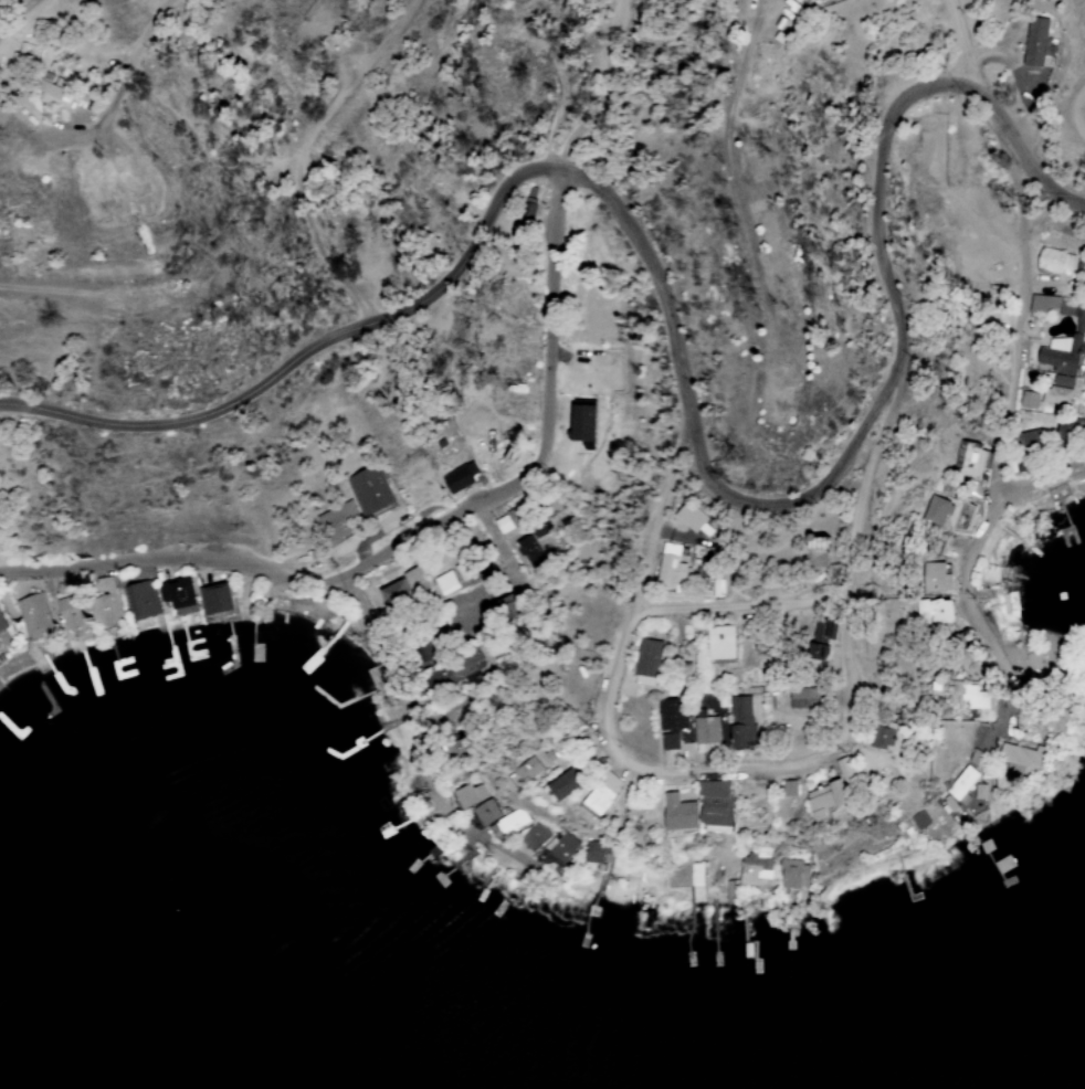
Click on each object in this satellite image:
road: (19, 20)
building: (1033, 42)
road: (966, 43)
road: (604, 89)
building: (48, 94)
road: (120, 96)
road: (1082, 113)
road: (735, 170)
building: (1053, 262)
road: (359, 295)
building: (1042, 304)
building: (1074, 315)
building: (1060, 356)
road: (683, 362)
building: (1057, 392)
building: (1028, 400)
road: (1012, 413)
building: (1068, 429)
road: (558, 441)
building: (1026, 441)
building: (969, 461)
building: (459, 477)
road: (1030, 486)
building: (368, 491)
building: (936, 511)
building: (335, 517)
building: (685, 518)
building: (504, 522)
road: (515, 546)
building: (527, 549)
building: (814, 552)
building: (668, 571)
building: (934, 578)
building: (413, 580)
building: (445, 583)
building: (714, 589)
road: (341, 591)
building: (392, 593)
building: (177, 596)
building: (141, 600)
building: (214, 600)
building: (105, 605)
building: (1009, 605)
road: (745, 606)
building: (505, 609)
building: (933, 611)
building: (70, 615)
building: (33, 617)
building: (819, 638)
building: (717, 643)
building: (958, 649)
building: (645, 658)
building: (454, 668)
building: (642, 681)
building: (802, 698)
building: (977, 701)
building: (670, 722)
building: (740, 722)
building: (705, 729)
building: (885, 737)
building: (455, 749)
building: (1022, 759)
building: (527, 770)
building: (844, 770)
road: (748, 771)
building: (563, 784)
building: (961, 785)
building: (788, 789)
building: (979, 792)
building: (602, 793)
building: (468, 795)
building: (823, 800)
building: (714, 803)
building: (950, 804)
building: (485, 813)
building: (676, 814)
building: (918, 821)
building: (508, 824)
building: (533, 837)
building: (560, 847)
building: (597, 853)
building: (747, 876)
building: (792, 876)

